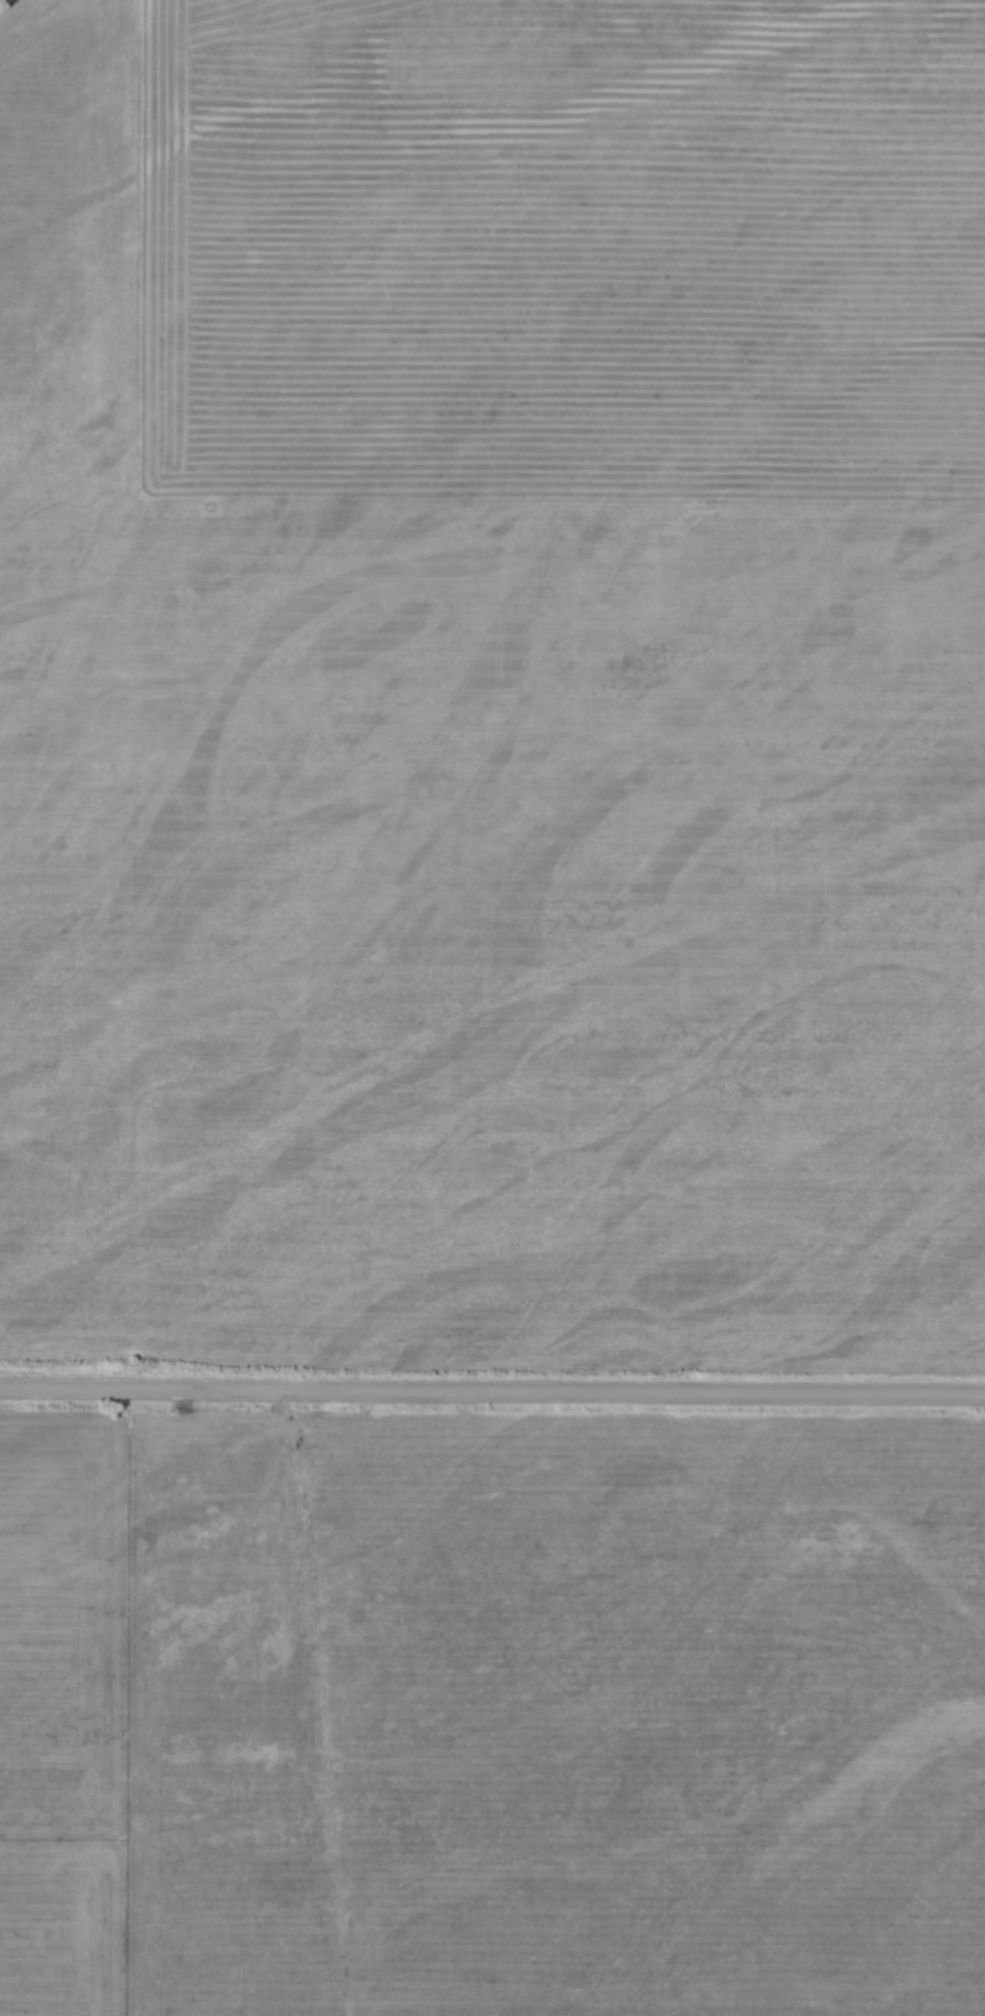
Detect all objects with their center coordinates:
road: (492, 1391)

